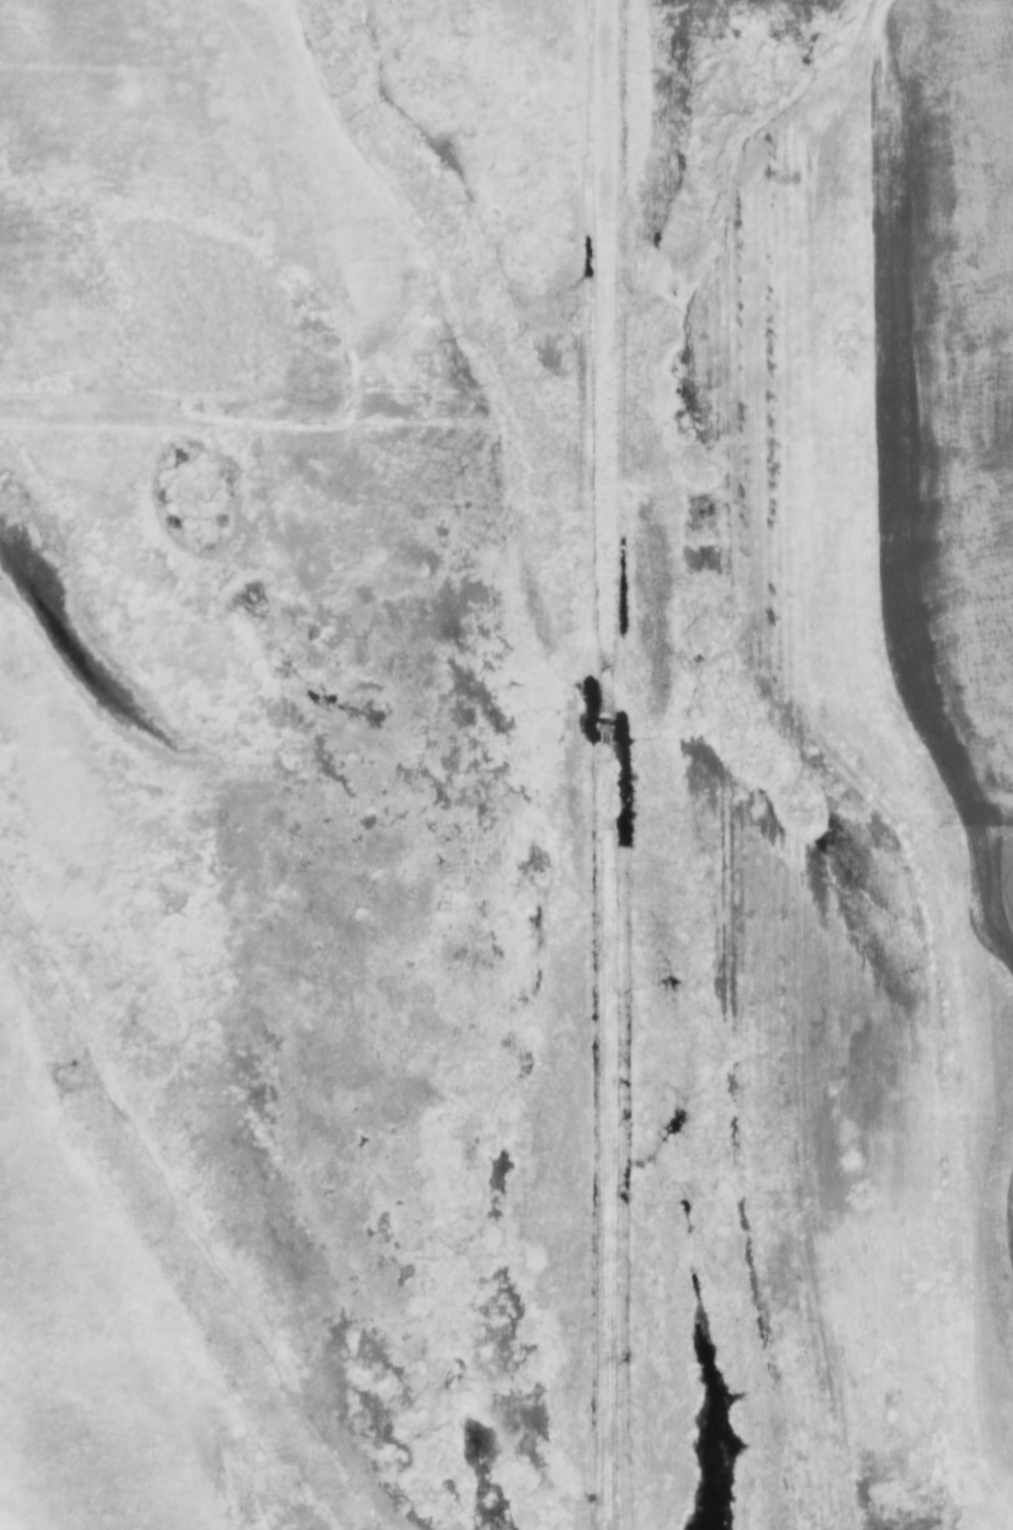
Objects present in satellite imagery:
power tower: (682, 133)
power tower: (683, 668)
road: (615, 765)
power tower: (688, 1193)

